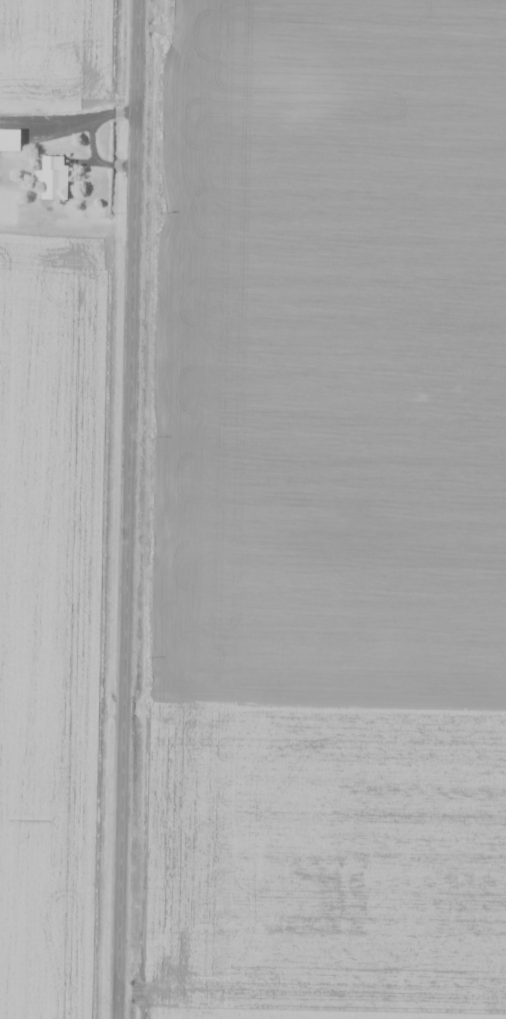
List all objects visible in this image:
building: (10, 140)
building: (53, 177)
road: (124, 509)

